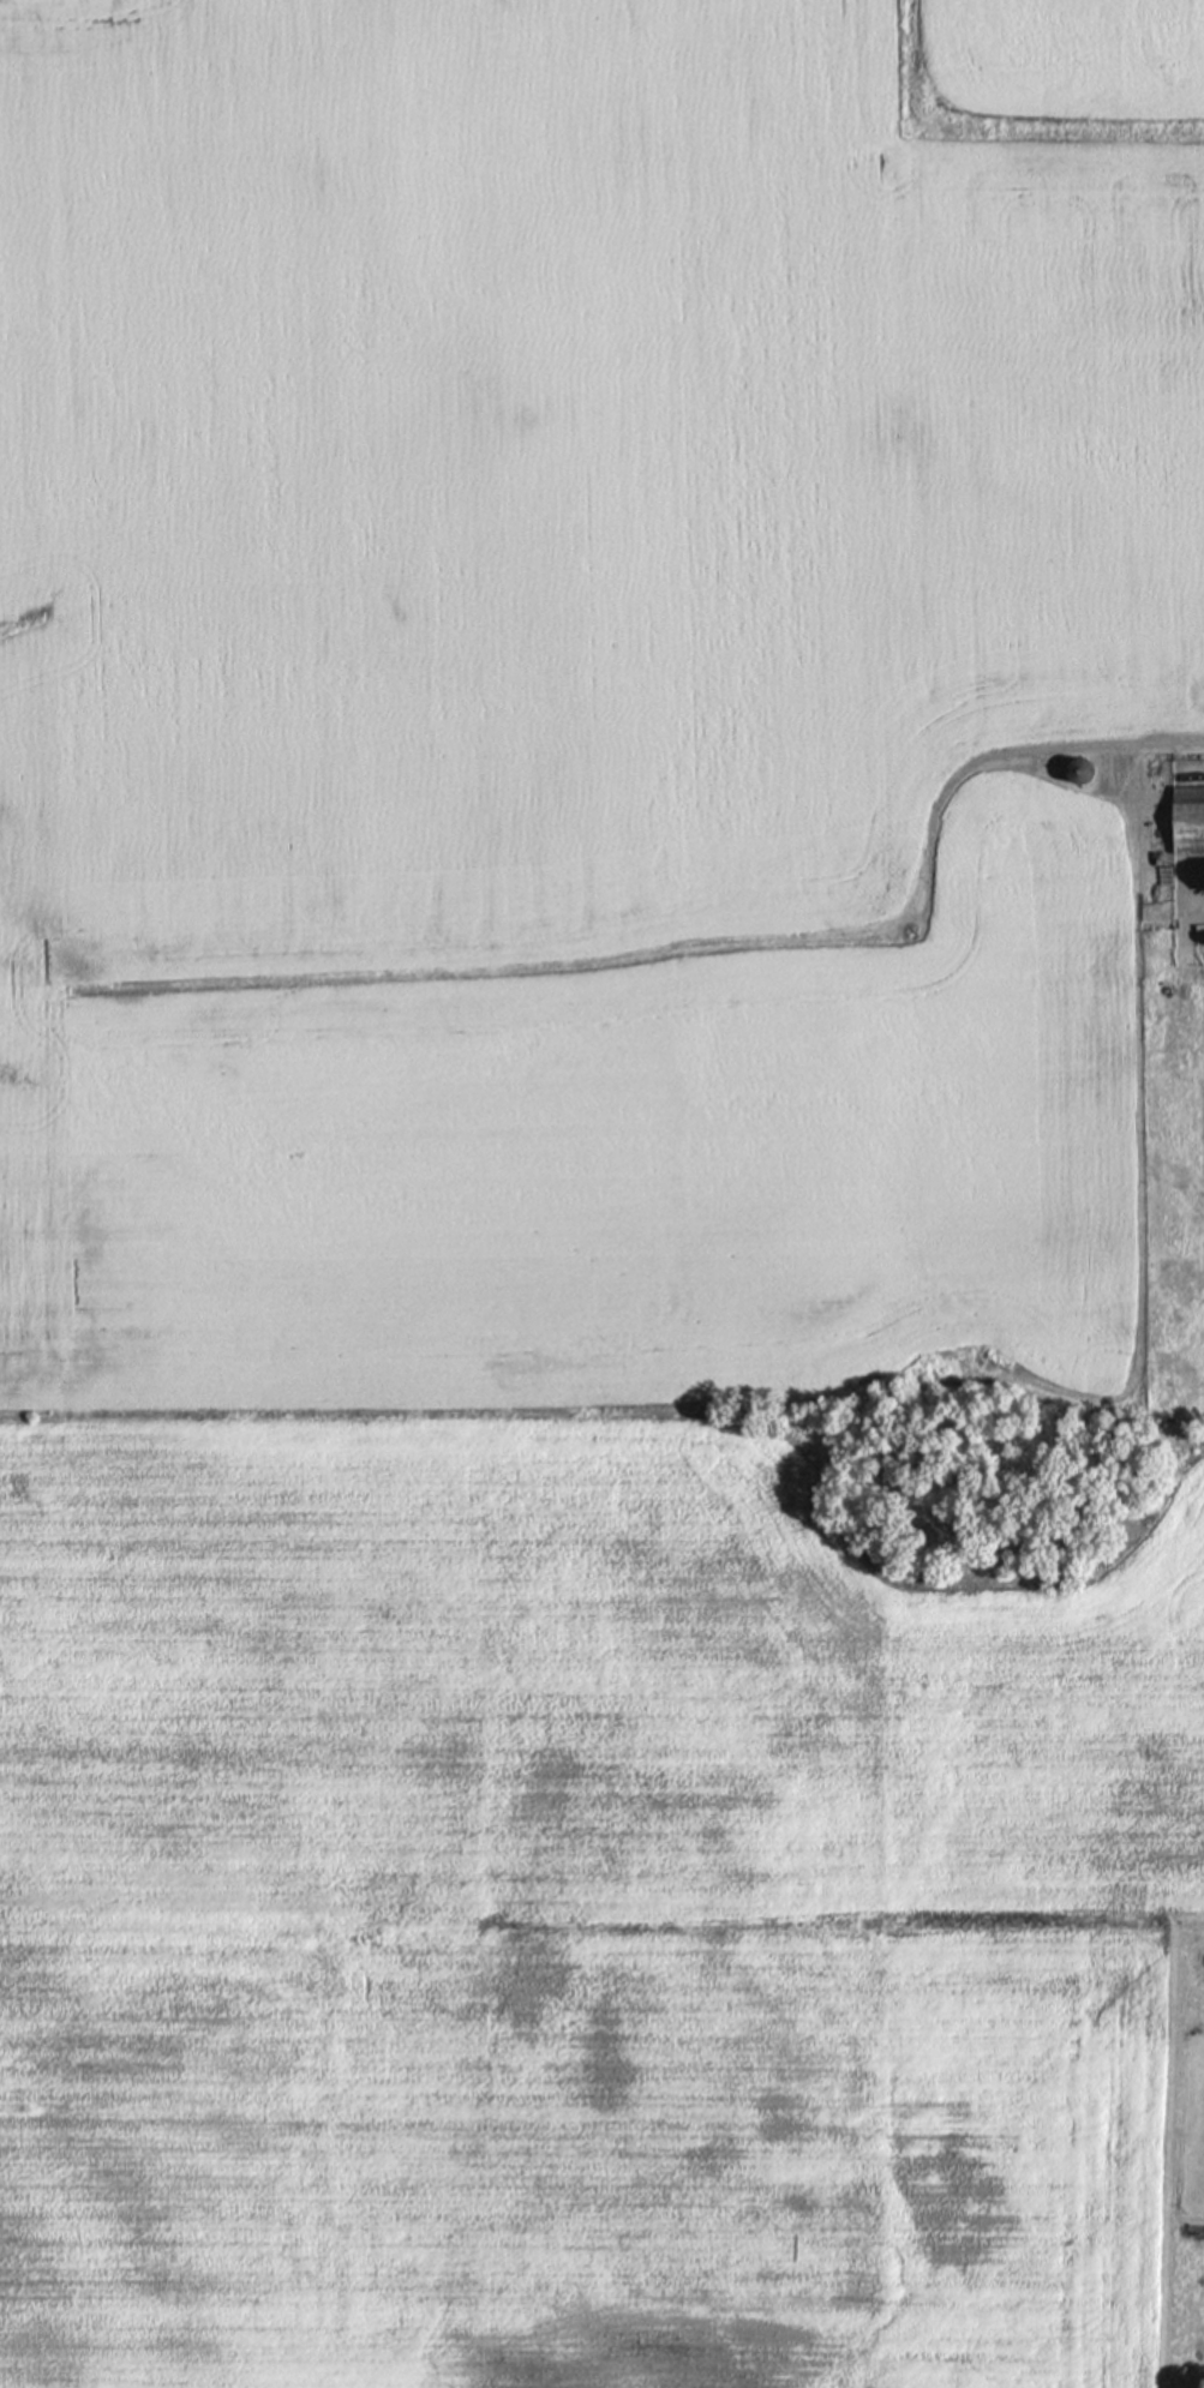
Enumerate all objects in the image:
building: (1076, 770)
building: (1187, 820)
road: (901, 918)
road: (1030, 1916)

